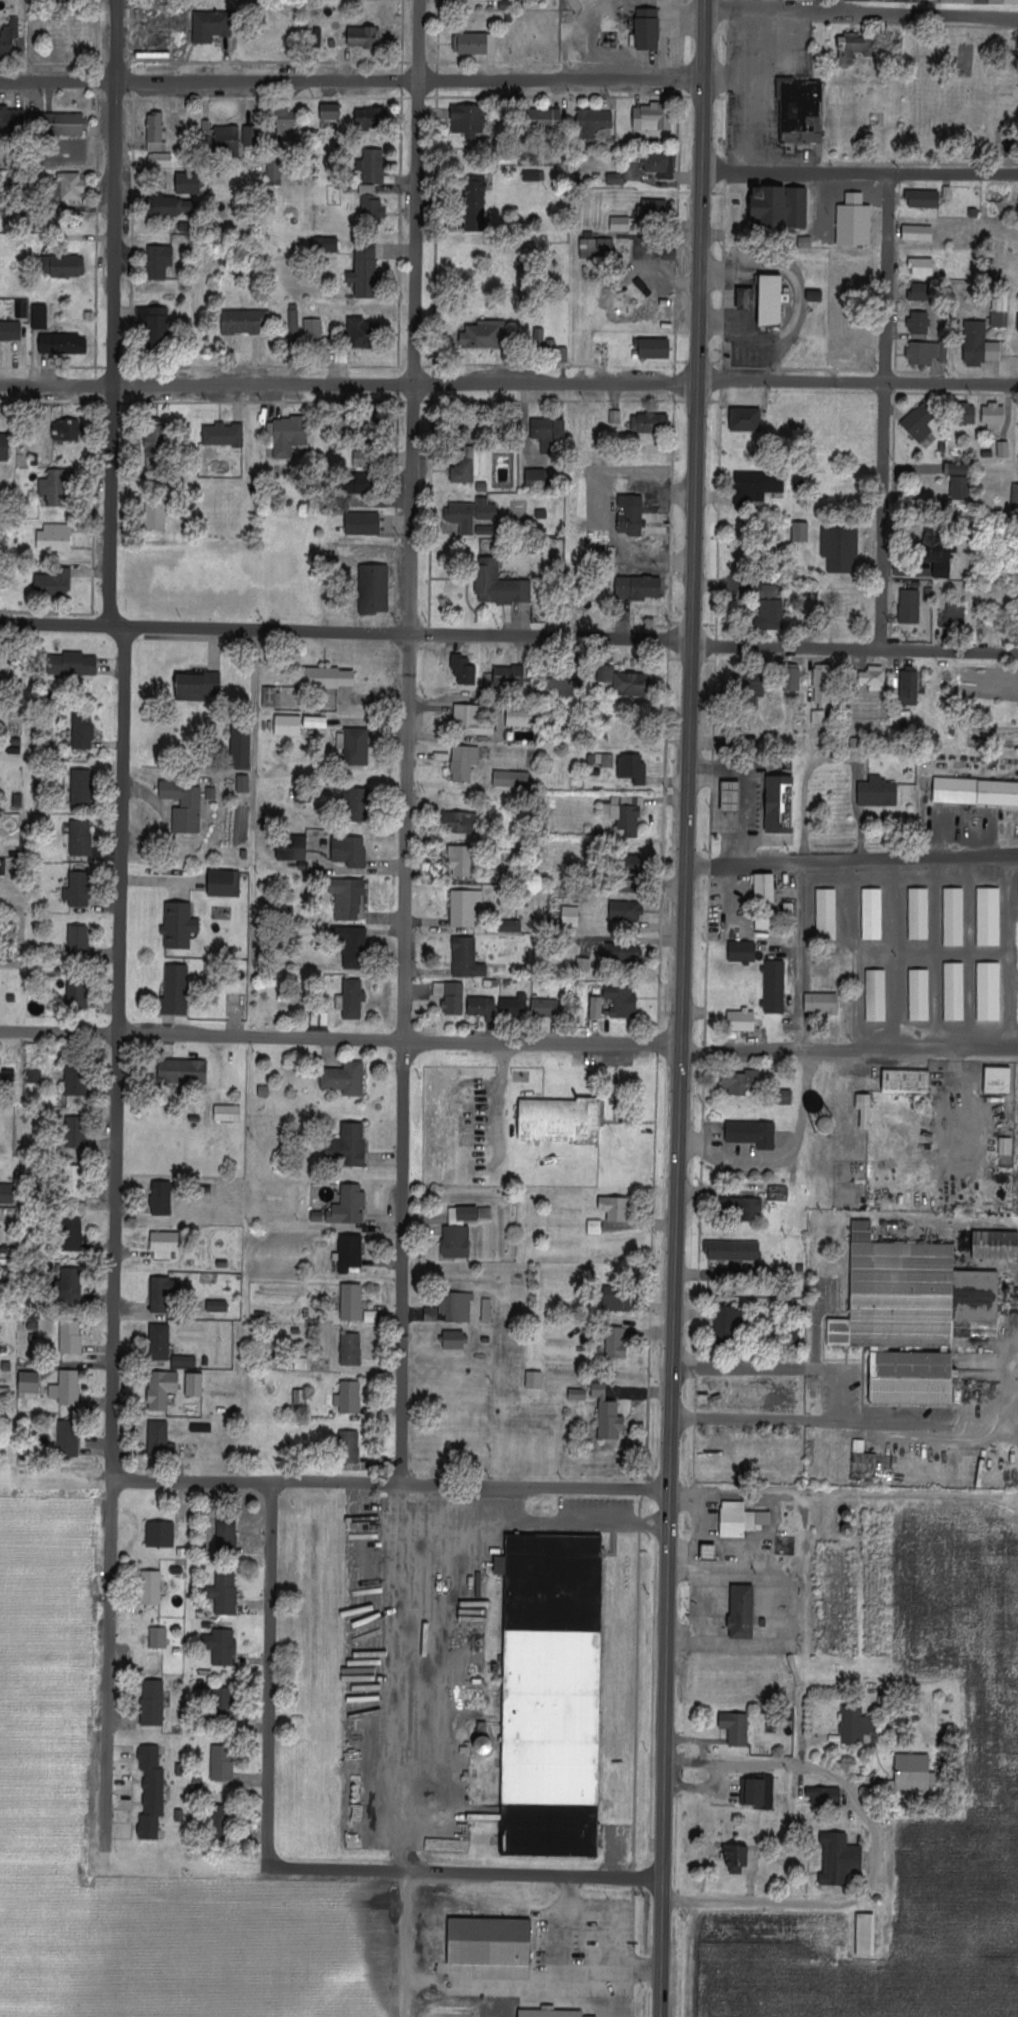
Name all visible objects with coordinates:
building: (980, 2)
road: (861, 14)
building: (211, 26)
building: (648, 30)
building: (9, 36)
building: (363, 38)
building: (475, 44)
building: (855, 47)
road: (351, 80)
building: (801, 111)
building: (330, 112)
building: (372, 117)
building: (650, 118)
building: (467, 119)
building: (544, 120)
building: (12, 122)
building: (594, 123)
building: (58, 124)
building: (286, 126)
building: (155, 132)
building: (250, 136)
building: (227, 139)
building: (160, 160)
building: (659, 165)
building: (373, 166)
building: (274, 170)
road: (859, 171)
building: (533, 176)
building: (616, 179)
building: (189, 183)
building: (69, 186)
building: (923, 199)
building: (371, 204)
building: (475, 205)
building: (174, 207)
building: (781, 207)
building: (653, 210)
building: (822, 213)
building: (620, 224)
building: (918, 233)
building: (325, 245)
building: (596, 246)
building: (159, 262)
building: (63, 266)
building: (922, 268)
building: (365, 271)
building: (921, 293)
building: (749, 300)
building: (771, 301)
building: (999, 311)
road: (113, 312)
building: (39, 317)
building: (243, 322)
building: (919, 323)
building: (156, 324)
building: (294, 324)
building: (1017, 324)
building: (313, 329)
building: (10, 331)
building: (363, 333)
building: (483, 335)
building: (539, 336)
building: (63, 344)
building: (979, 345)
building: (655, 349)
building: (925, 353)
road: (508, 382)
road: (884, 410)
building: (967, 415)
building: (993, 415)
building: (615, 417)
building: (746, 420)
building: (920, 421)
building: (648, 424)
building: (344, 430)
building: (67, 431)
building: (549, 434)
building: (224, 435)
building: (289, 436)
building: (157, 441)
building: (4, 448)
building: (1003, 449)
building: (464, 465)
building: (957, 468)
building: (360, 475)
building: (536, 477)
building: (757, 486)
building: (960, 487)
building: (56, 488)
building: (1014, 497)
building: (471, 514)
building: (155, 516)
building: (631, 520)
building: (363, 523)
building: (801, 531)
building: (55, 537)
building: (840, 548)
building: (937, 552)
building: (54, 582)
building: (499, 584)
building: (640, 587)
building: (374, 588)
building: (910, 606)
building: (768, 607)
building: (953, 616)
road: (509, 634)
building: (73, 664)
building: (464, 669)
building: (606, 674)
building: (510, 675)
building: (329, 678)
building: (795, 678)
building: (874, 678)
building: (748, 681)
building: (198, 683)
building: (563, 683)
building: (631, 684)
building: (822, 684)
building: (909, 685)
building: (269, 696)
building: (520, 716)
building: (820, 717)
building: (471, 721)
building: (316, 722)
building: (288, 725)
building: (82, 732)
road: (257, 742)
building: (241, 746)
building: (354, 746)
building: (604, 760)
building: (464, 762)
building: (632, 767)
building: (511, 779)
building: (243, 783)
building: (81, 787)
building: (976, 791)
building: (211, 793)
building: (878, 794)
building: (730, 795)
building: (780, 803)
building: (184, 805)
building: (357, 806)
building: (624, 813)
building: (458, 822)
building: (80, 838)
building: (350, 851)
building: (286, 853)
road: (852, 858)
building: (461, 859)
building: (224, 883)
building: (76, 886)
building: (764, 888)
building: (347, 898)
building: (466, 908)
building: (626, 911)
building: (919, 913)
building: (826, 914)
building: (872, 914)
building: (571, 916)
building: (954, 916)
building: (988, 916)
building: (765, 924)
building: (179, 925)
road: (406, 935)
building: (78, 941)
building: (352, 945)
building: (624, 952)
building: (742, 952)
building: (466, 958)
building: (583, 965)
road: (805, 985)
building: (774, 986)
building: (175, 990)
building: (954, 991)
building: (988, 991)
building: (77, 993)
building: (876, 995)
building: (919, 995)
building: (451, 996)
building: (351, 999)
building: (622, 1001)
building: (822, 1003)
building: (514, 1006)
building: (481, 1007)
building: (546, 1007)
building: (597, 1007)
road: (682, 1008)
building: (741, 1020)
road: (509, 1042)
building: (183, 1071)
building: (34, 1076)
building: (345, 1078)
building: (998, 1079)
building: (906, 1081)
building: (75, 1082)
building: (740, 1082)
building: (865, 1110)
building: (227, 1113)
building: (560, 1120)
building: (75, 1132)
building: (752, 1133)
building: (350, 1145)
building: (1006, 1146)
building: (74, 1182)
building: (6, 1193)
building: (778, 1193)
building: (161, 1198)
building: (349, 1205)
building: (615, 1208)
building: (744, 1208)
building: (594, 1227)
building: (461, 1230)
building: (72, 1233)
road: (115, 1236)
building: (165, 1245)
building: (995, 1245)
building: (734, 1252)
building: (349, 1253)
building: (68, 1286)
building: (161, 1293)
building: (615, 1300)
building: (351, 1302)
building: (217, 1306)
building: (456, 1307)
building: (486, 1309)
building: (431, 1314)
building: (903, 1318)
building: (728, 1322)
building: (70, 1337)
building: (454, 1340)
building: (160, 1342)
building: (616, 1343)
building: (351, 1349)
building: (184, 1361)
road: (786, 1369)
building: (534, 1379)
building: (194, 1384)
building: (29, 1385)
building: (66, 1388)
building: (162, 1389)
building: (577, 1394)
building: (299, 1397)
building: (349, 1397)
building: (608, 1416)
road: (758, 1419)
road: (938, 1421)
building: (68, 1439)
building: (160, 1440)
building: (350, 1447)
building: (864, 1459)
road: (391, 1481)
building: (740, 1520)
building: (227, 1533)
building: (160, 1534)
road: (701, 1569)
building: (151, 1588)
building: (224, 1594)
building: (742, 1612)
building: (158, 1638)
building: (221, 1647)
building: (551, 1694)
building: (153, 1703)
building: (224, 1704)
building: (854, 1725)
building: (735, 1728)
road: (269, 1741)
building: (485, 1746)
building: (222, 1762)
road: (750, 1763)
building: (914, 1772)
building: (151, 1792)
building: (760, 1792)
building: (824, 1797)
building: (450, 1844)
building: (736, 1857)
building: (839, 1860)
road: (534, 1873)
road: (835, 1901)
road: (569, 1932)
building: (866, 1935)
building: (492, 1938)
road: (406, 1943)
road: (608, 1968)
building: (553, 2012)

